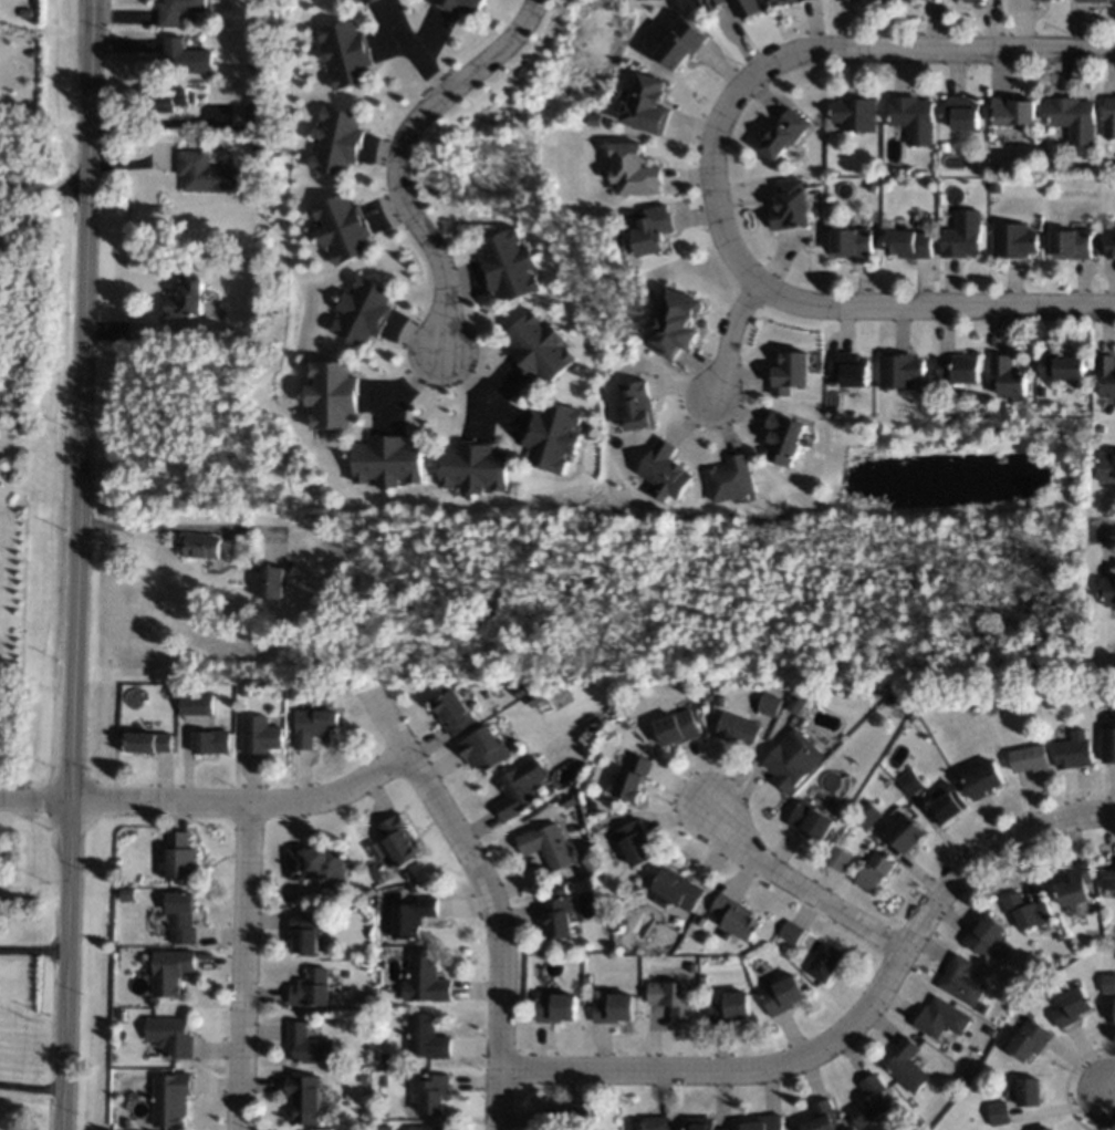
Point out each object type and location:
building: (351, 0)
building: (975, 0)
building: (1044, 0)
building: (368, 1)
building: (783, 1)
building: (1092, 1)
building: (711, 3)
building: (460, 6)
building: (748, 8)
building: (177, 10)
building: (27, 13)
building: (680, 42)
road: (838, 51)
building: (30, 52)
building: (346, 53)
road: (418, 54)
building: (186, 56)
building: (197, 86)
building: (173, 96)
building: (645, 103)
building: (1013, 108)
building: (962, 111)
building: (256, 112)
building: (856, 113)
building: (1109, 116)
building: (914, 117)
building: (1074, 117)
building: (784, 134)
building: (336, 141)
building: (258, 144)
building: (945, 146)
road: (403, 158)
building: (1051, 159)
building: (635, 170)
building: (205, 173)
building: (873, 185)
road: (42, 200)
building: (790, 206)
building: (927, 219)
building: (342, 228)
building: (652, 228)
building: (962, 235)
building: (1013, 240)
building: (854, 241)
building: (909, 242)
building: (1072, 243)
building: (1111, 248)
building: (508, 265)
building: (185, 297)
road: (910, 309)
building: (365, 310)
building: (677, 324)
road: (731, 341)
building: (540, 346)
building: (1062, 366)
building: (852, 367)
building: (960, 369)
building: (899, 370)
building: (791, 372)
building: (1107, 372)
building: (1010, 375)
road: (414, 379)
building: (833, 382)
road: (477, 388)
building: (333, 394)
building: (1007, 404)
building: (636, 405)
building: (1101, 428)
building: (553, 435)
building: (784, 438)
building: (388, 462)
building: (1106, 466)
building: (473, 467)
building: (666, 470)
building: (732, 479)
road: (1103, 528)
road: (175, 530)
building: (200, 546)
road: (74, 564)
building: (272, 581)
building: (1107, 590)
building: (519, 690)
building: (244, 691)
building: (171, 693)
building: (706, 696)
building: (534, 698)
building: (720, 701)
building: (1051, 702)
building: (196, 704)
building: (770, 704)
building: (795, 704)
building: (971, 704)
building: (3, 708)
building: (992, 709)
building: (452, 713)
building: (910, 715)
building: (593, 723)
building: (313, 726)
building: (1018, 726)
building: (677, 728)
building: (738, 729)
building: (259, 735)
building: (1108, 739)
building: (150, 742)
building: (211, 742)
building: (483, 748)
building: (1074, 751)
building: (1031, 757)
building: (793, 759)
building: (634, 778)
building: (982, 779)
building: (908, 781)
building: (519, 787)
building: (846, 794)
road: (33, 797)
building: (567, 800)
road: (244, 804)
building: (945, 806)
building: (865, 812)
building: (810, 819)
building: (602, 822)
building: (905, 833)
building: (395, 842)
building: (634, 842)
building: (545, 844)
building: (180, 857)
building: (836, 858)
building: (315, 863)
building: (874, 871)
building: (406, 874)
building: (1108, 879)
building: (1075, 884)
road: (802, 885)
building: (413, 888)
building: (677, 890)
building: (126, 894)
road: (491, 899)
building: (1028, 911)
building: (180, 916)
building: (411, 916)
building: (556, 916)
building: (736, 916)
building: (618, 920)
building: (700, 921)
building: (306, 931)
building: (790, 932)
building: (984, 936)
building: (1059, 936)
building: (823, 962)
road: (247, 966)
building: (691, 967)
building: (170, 971)
building: (585, 977)
building: (424, 978)
building: (960, 981)
building: (1108, 983)
building: (311, 987)
building: (781, 994)
building: (1036, 997)
building: (669, 998)
building: (554, 1007)
building: (729, 1007)
building: (1072, 1007)
building: (613, 1008)
building: (982, 1008)
building: (121, 1015)
building: (940, 1018)
building: (361, 1022)
road: (845, 1026)
building: (991, 1030)
building: (170, 1036)
building: (425, 1036)
building: (1030, 1039)
building: (309, 1045)
building: (387, 1058)
building: (906, 1065)
building: (364, 1077)
building: (960, 1078)
building: (382, 1080)
road: (29, 1089)
building: (1028, 1091)
road: (1111, 1091)
building: (433, 1092)
building: (170, 1098)
building: (305, 1098)
building: (869, 1101)
building: (363, 1107)
building: (998, 1113)
building: (571, 1117)
building: (821, 1117)
building: (126, 1122)
building: (764, 1122)
building: (650, 1123)
building: (699, 1123)
building: (384, 1128)
building: (426, 1128)
building: (1048, 1129)

